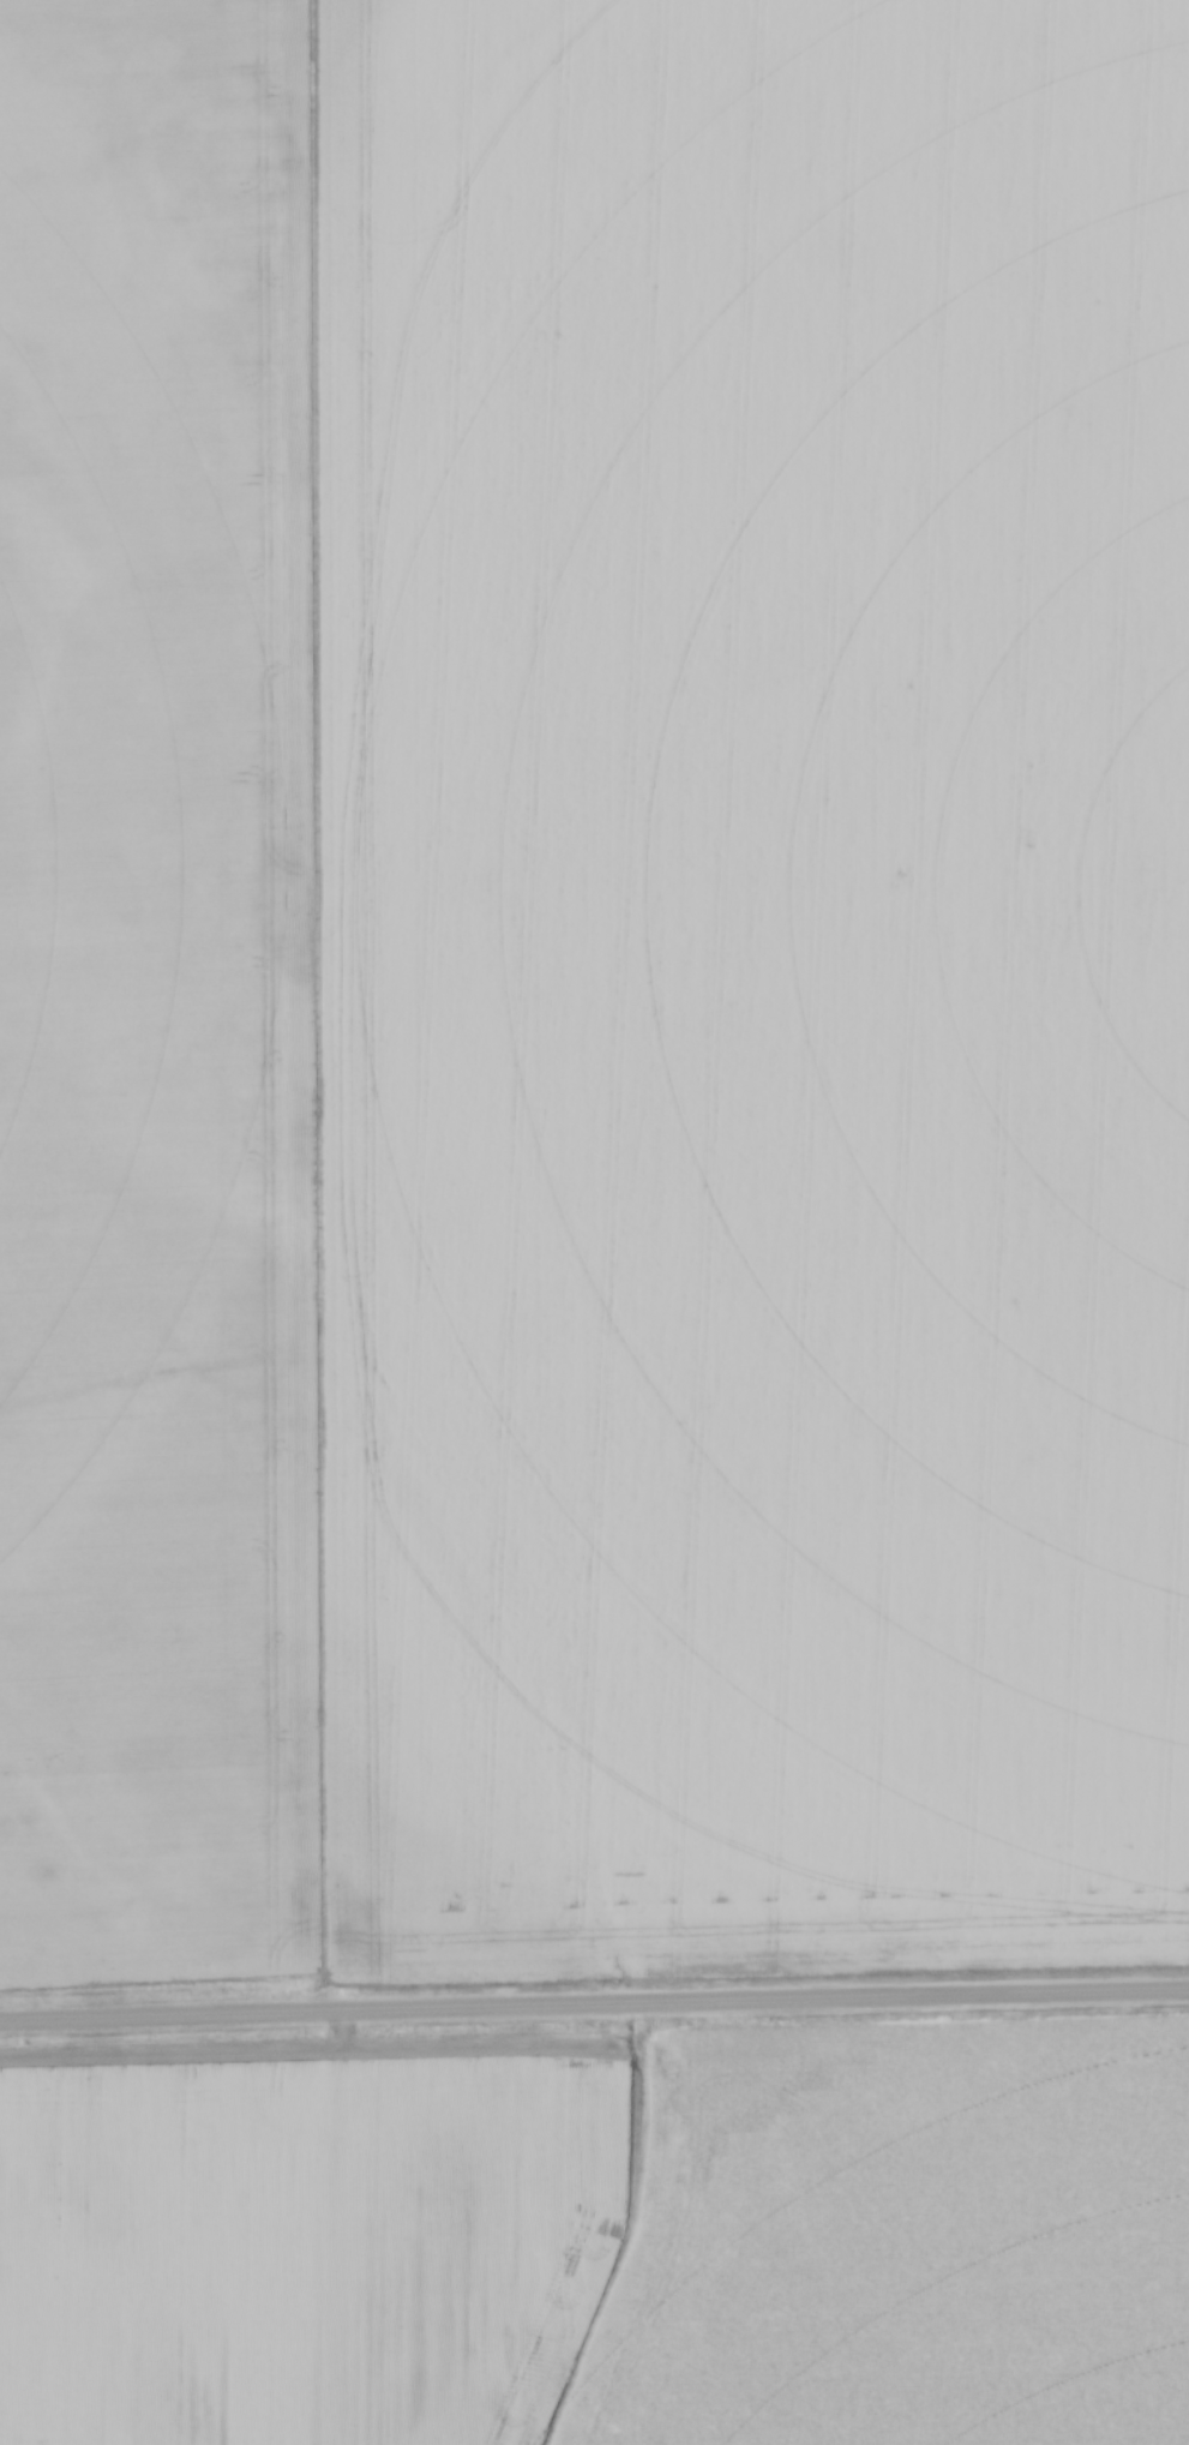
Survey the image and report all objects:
road: (594, 2009)

